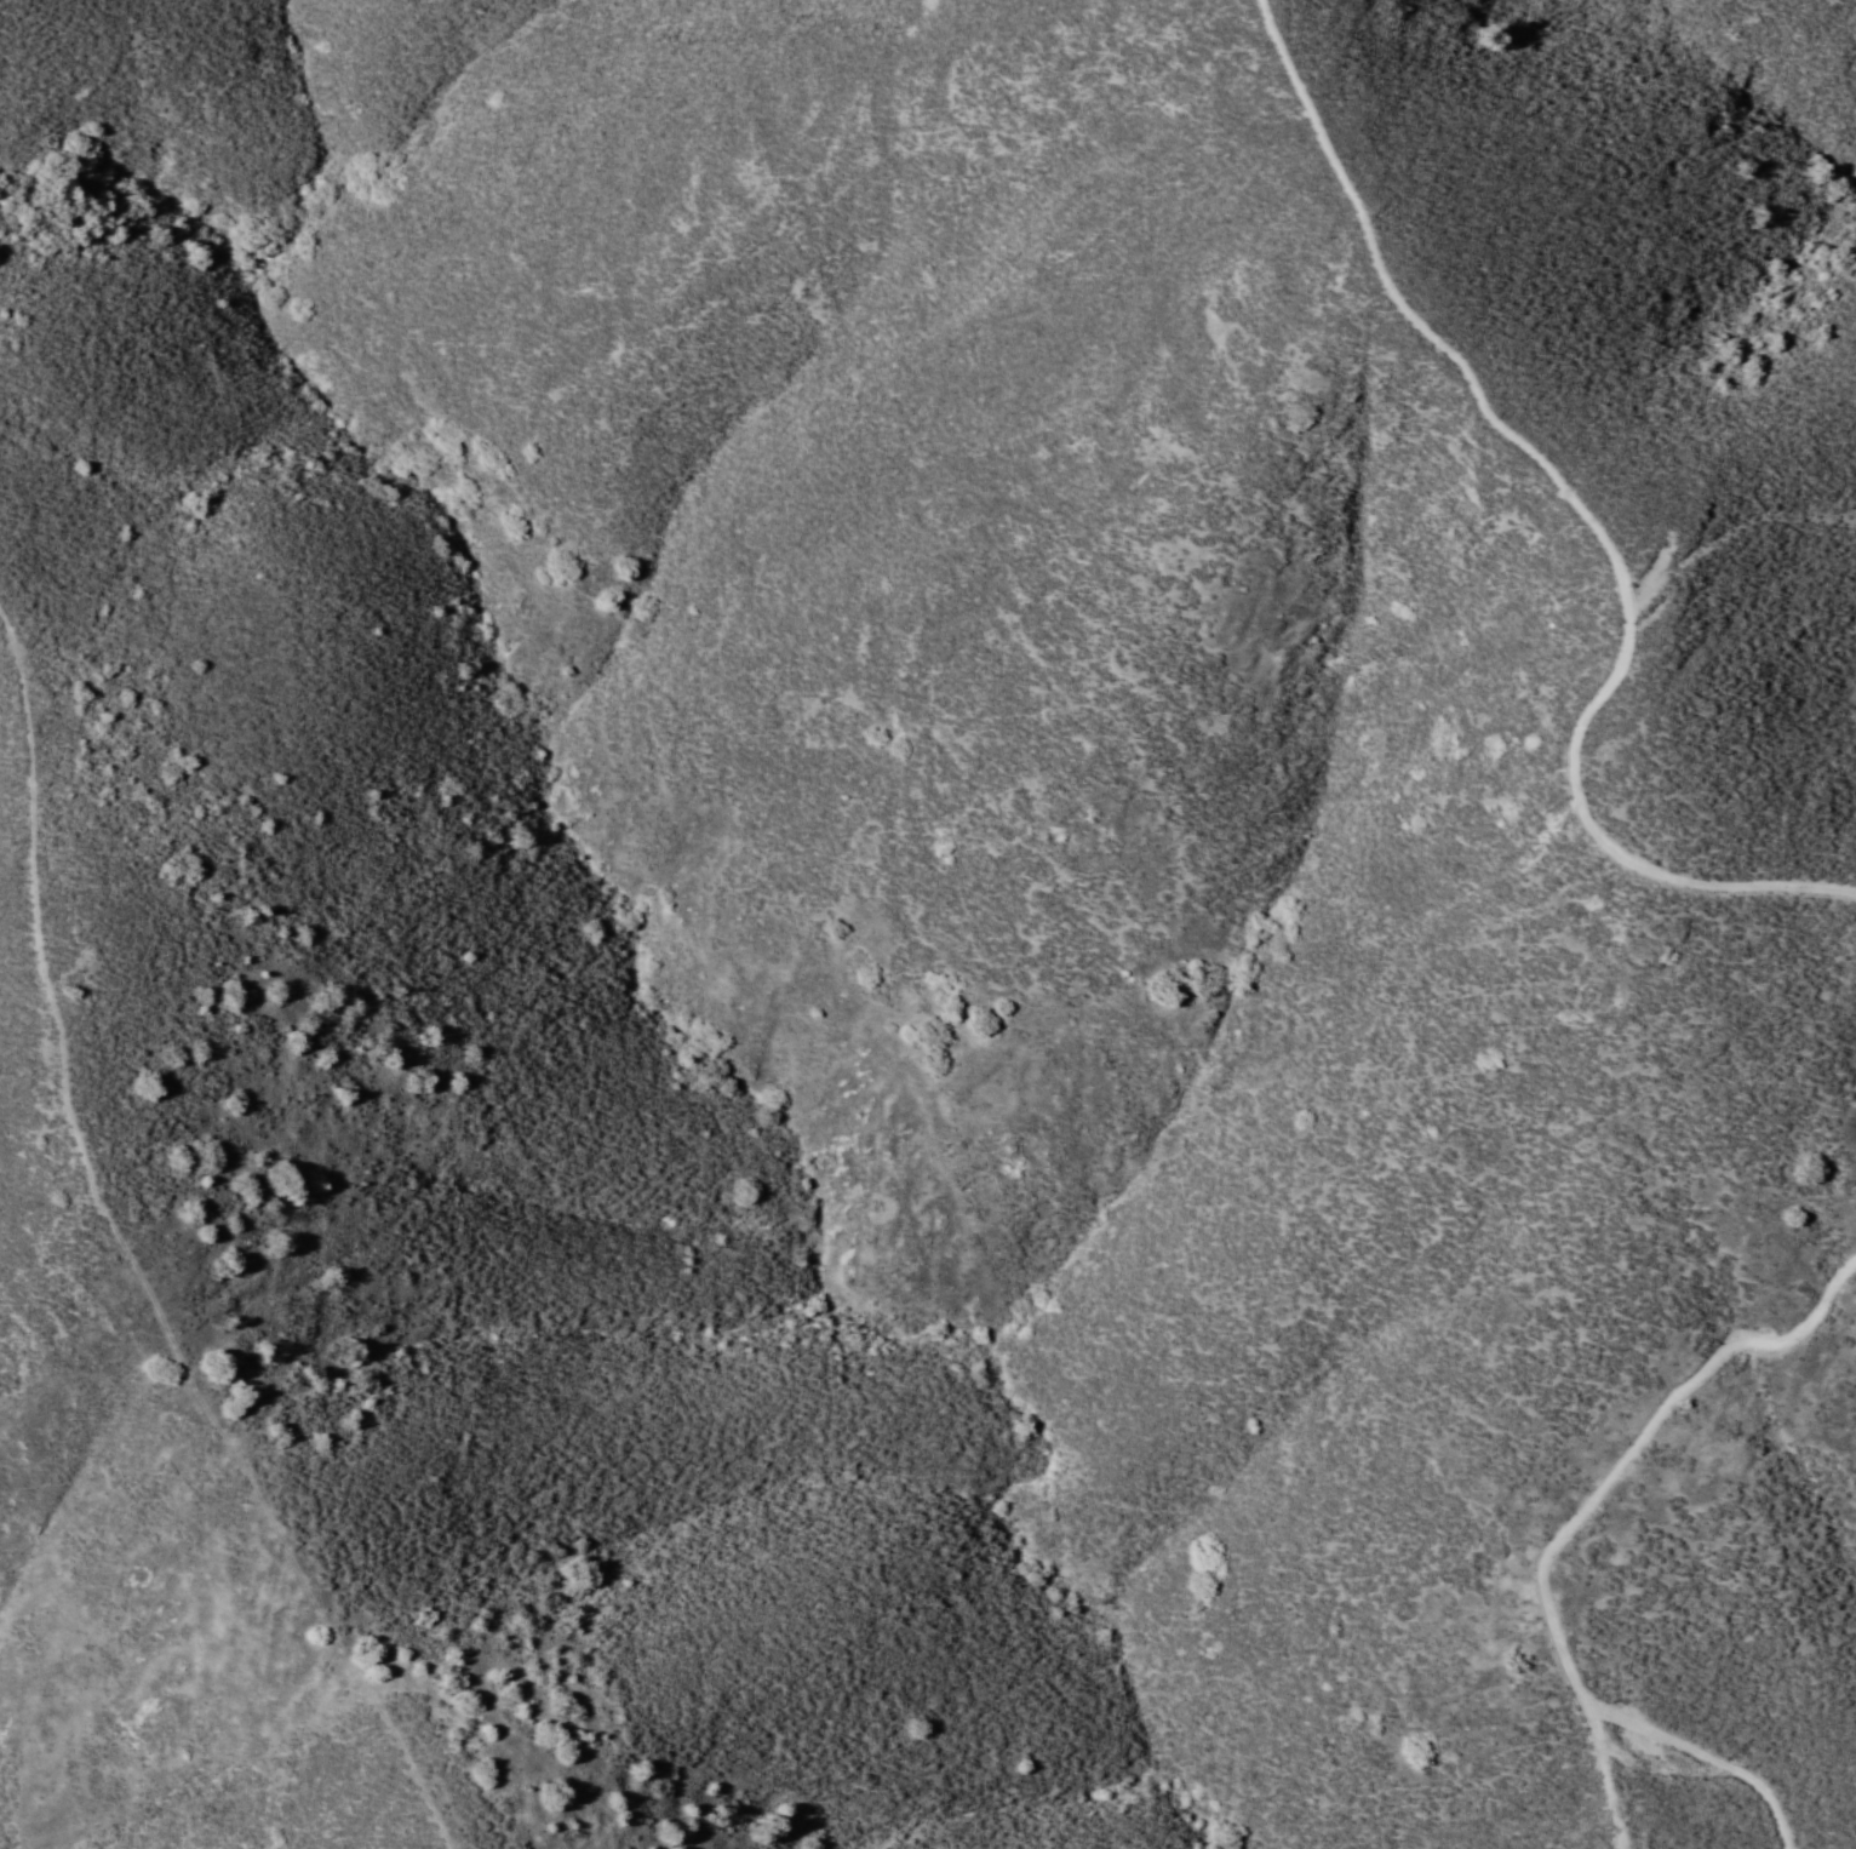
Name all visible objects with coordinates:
road: (1586, 516)
road: (1726, 538)

